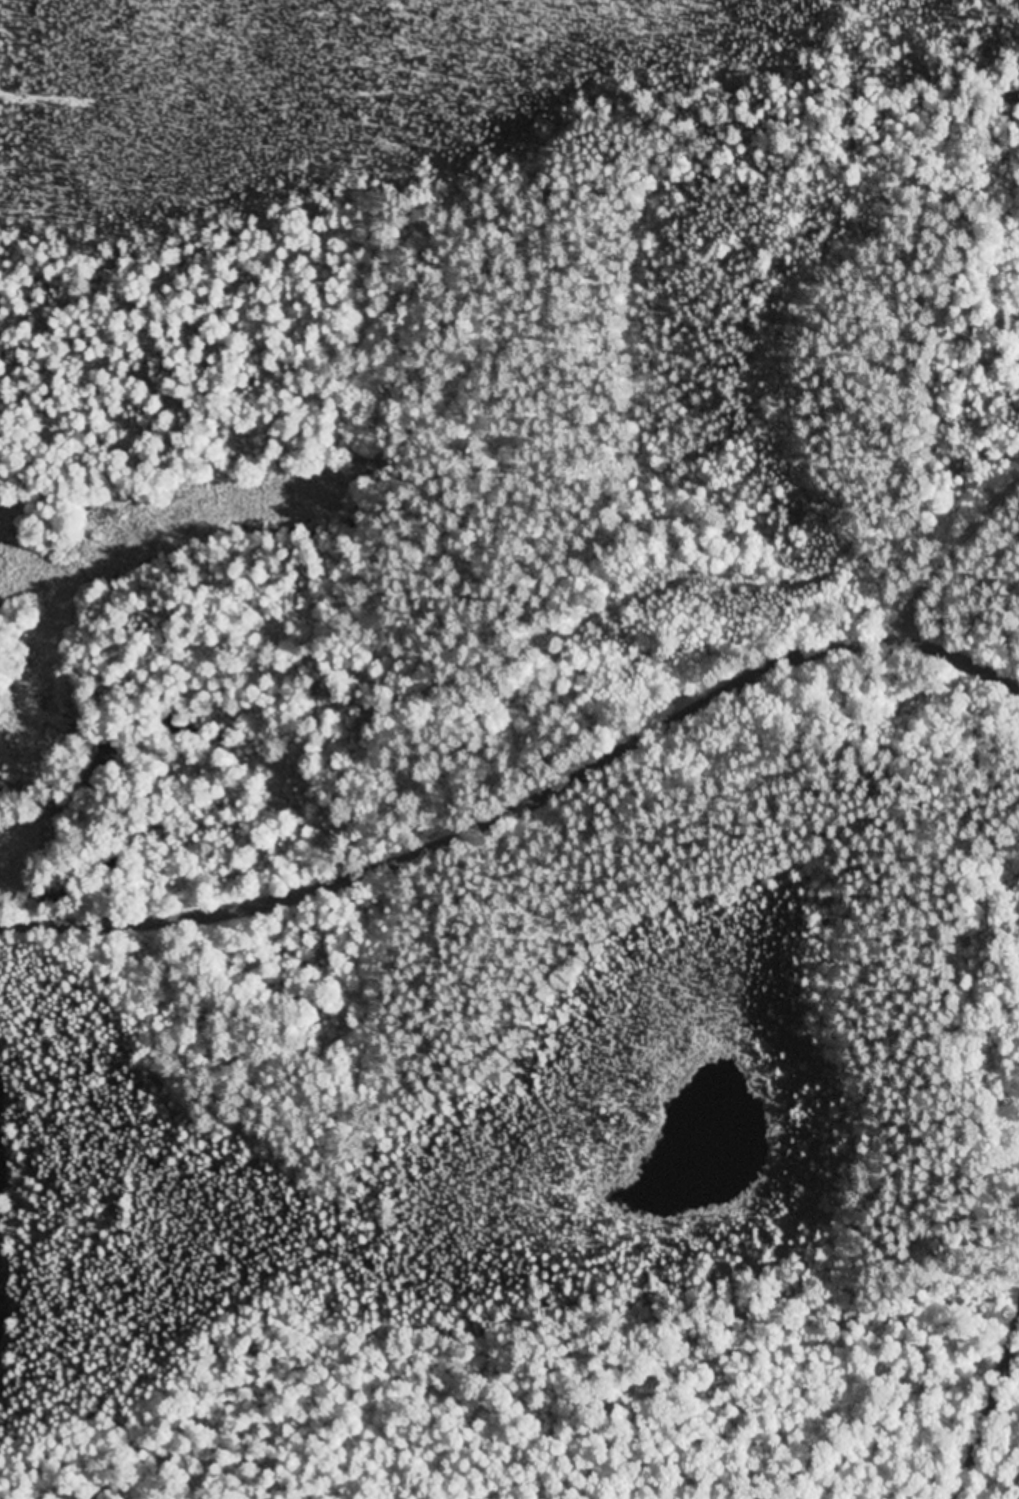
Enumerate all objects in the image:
road: (527, 804)
road: (991, 1417)

